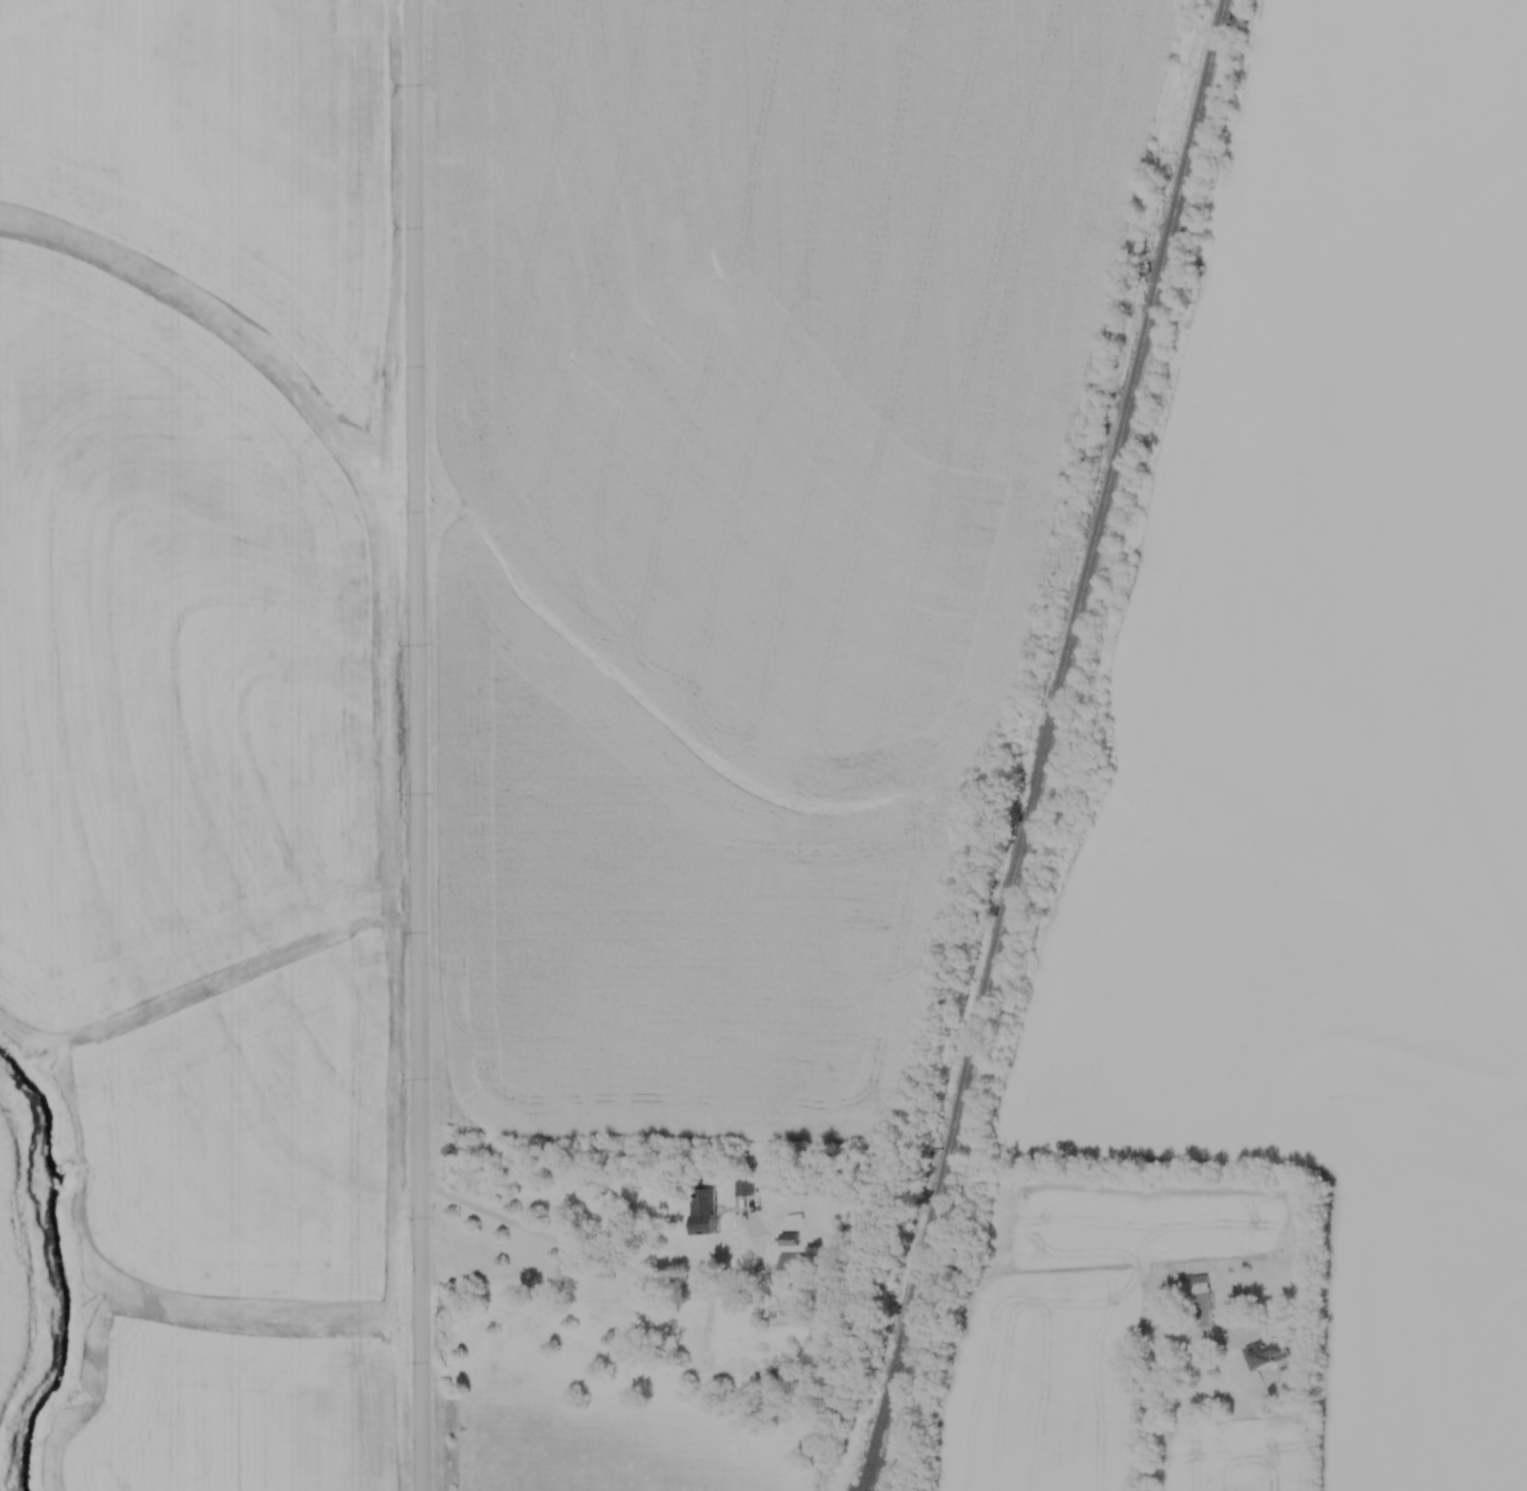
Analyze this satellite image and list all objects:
road: (422, 745)
railway: (1047, 745)
building: (743, 1187)
building: (824, 1191)
building: (703, 1212)
building: (788, 1240)
road: (609, 1267)
building: (794, 1272)
building: (1203, 1305)
building: (1266, 1354)
road: (1161, 1401)

